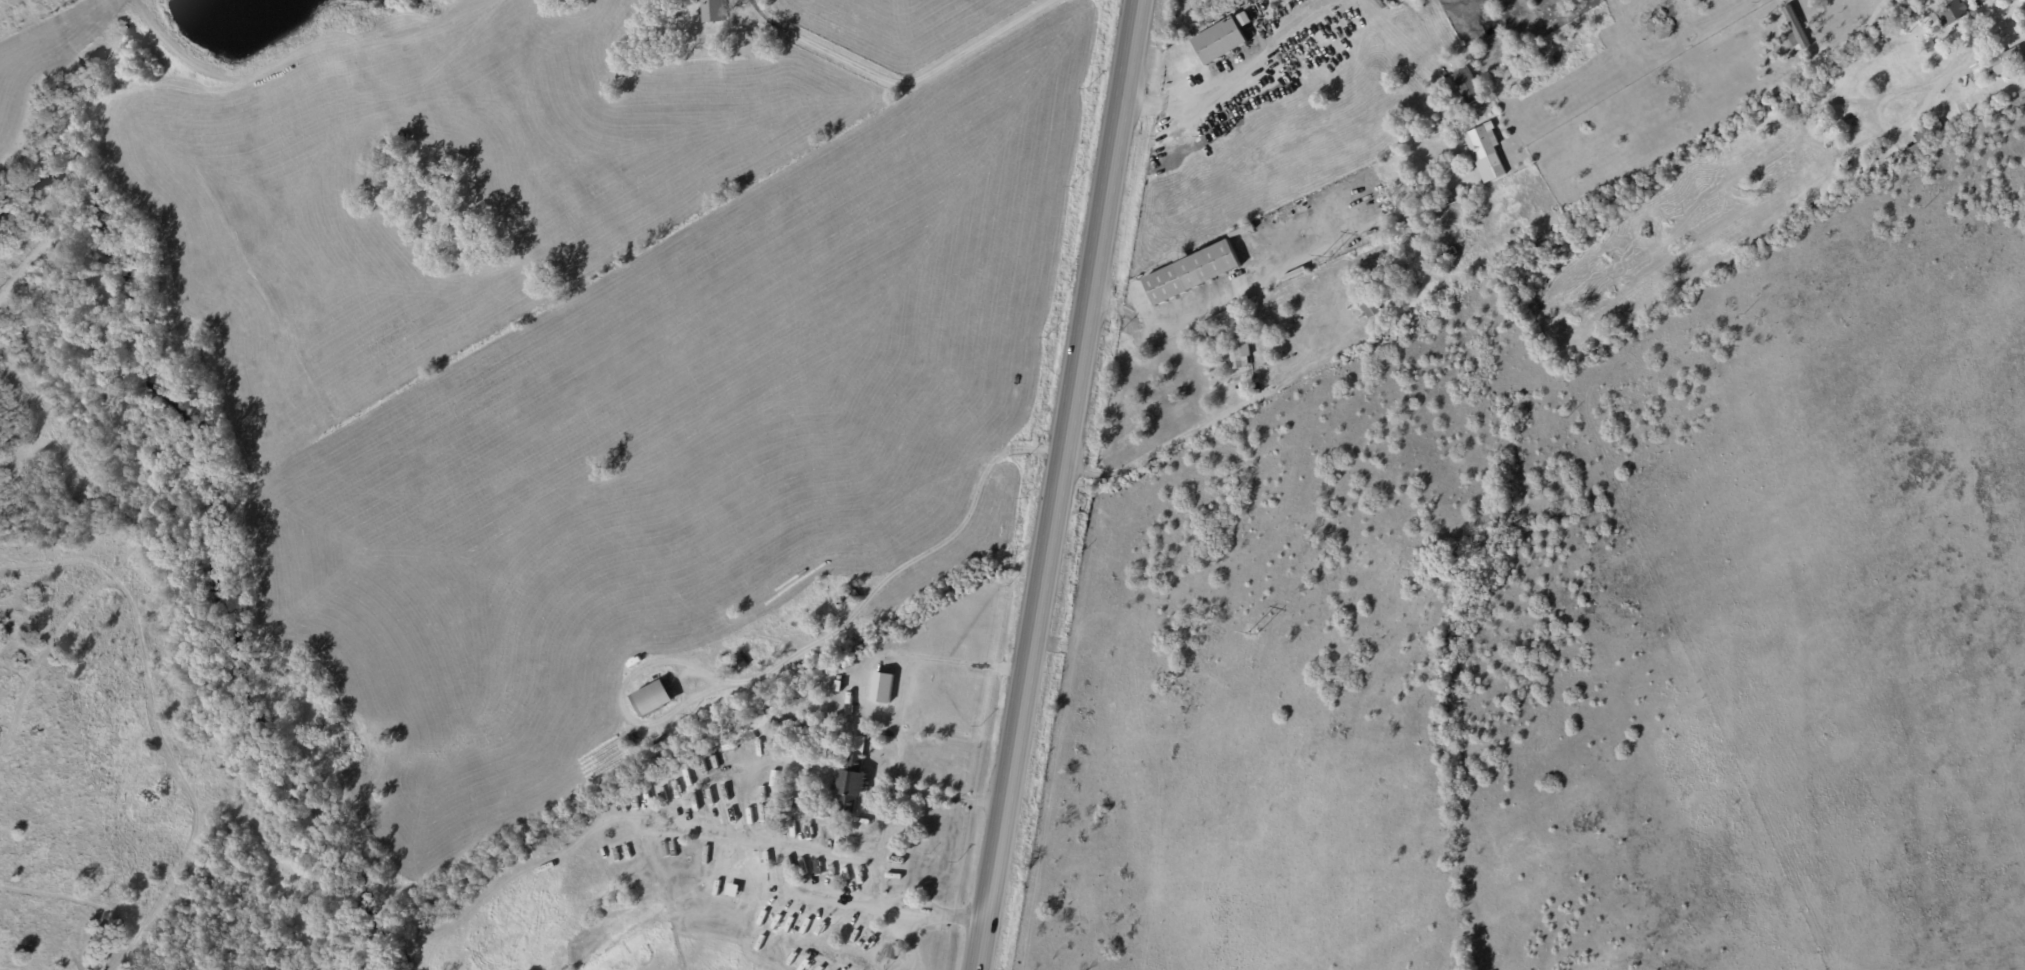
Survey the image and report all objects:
building: (712, 11)
building: (1949, 14)
road: (1996, 22)
building: (1795, 29)
road: (1856, 36)
building: (1222, 39)
building: (2008, 60)
road: (893, 86)
road: (1195, 96)
building: (1927, 138)
building: (1485, 152)
building: (1352, 191)
power tower: (1326, 257)
building: (1192, 273)
road: (1221, 300)
building: (1368, 305)
building: (1239, 357)
road: (1058, 485)
power tower: (1252, 634)
road: (912, 656)
building: (652, 698)
road: (840, 729)
building: (851, 777)
road: (948, 799)
road: (886, 823)
road: (725, 826)
road: (830, 848)
road: (884, 881)
road: (815, 892)
road: (900, 909)
road: (947, 912)
road: (919, 944)
road: (837, 957)

